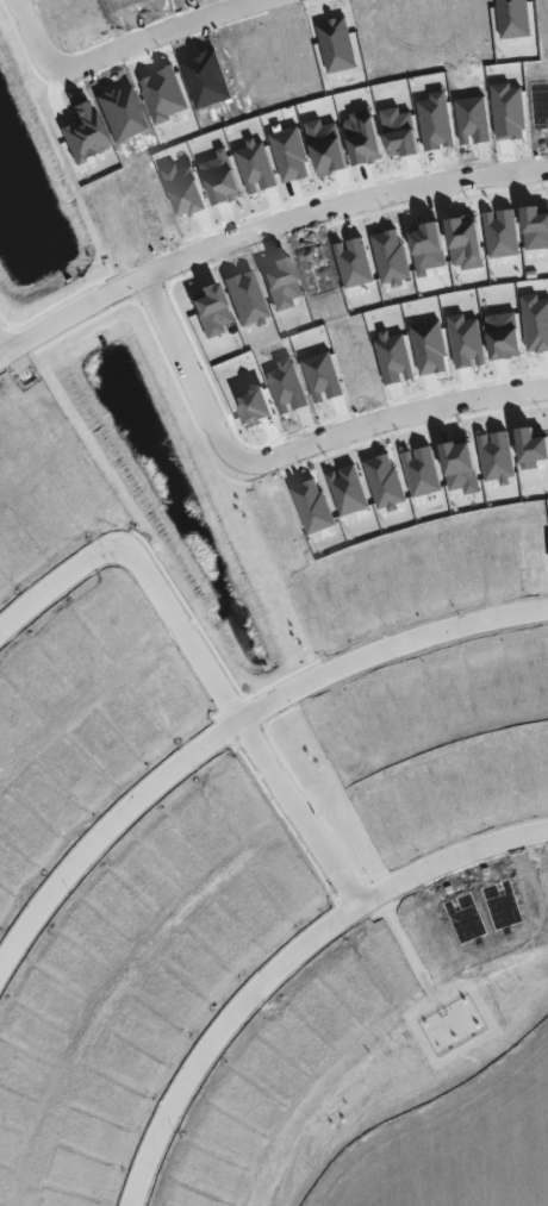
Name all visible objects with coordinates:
road: (163, 33)
road: (33, 37)
road: (262, 226)
road: (1, 349)
road: (188, 373)
road: (394, 415)
road: (55, 583)
road: (242, 723)
road: (232, 725)
road: (286, 960)
crop: (453, 1114)

